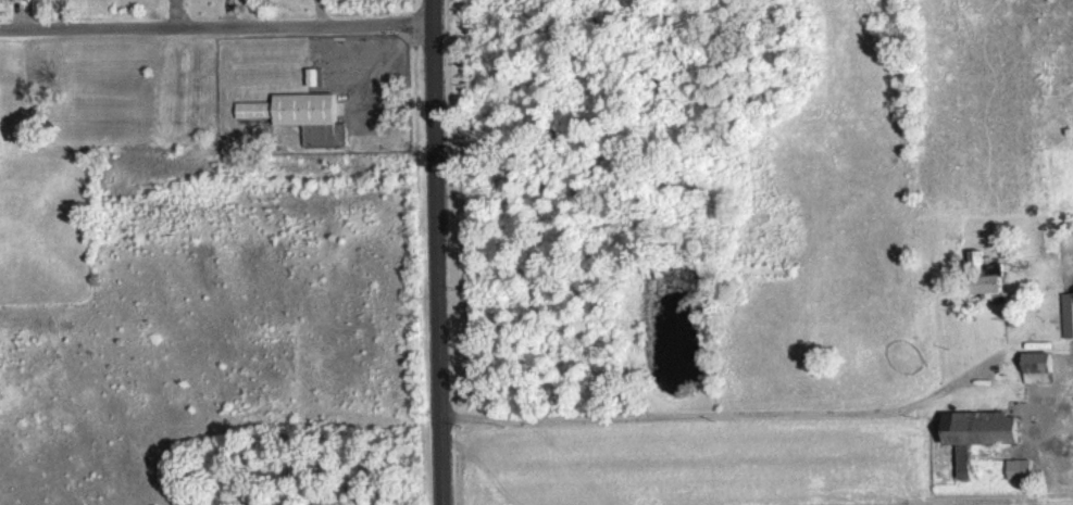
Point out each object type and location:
building: (214, 0)
building: (11, 5)
road: (216, 24)
building: (300, 129)
road: (437, 252)
building: (987, 283)
building: (1068, 328)
building: (1038, 381)
road: (715, 413)
building: (978, 444)

